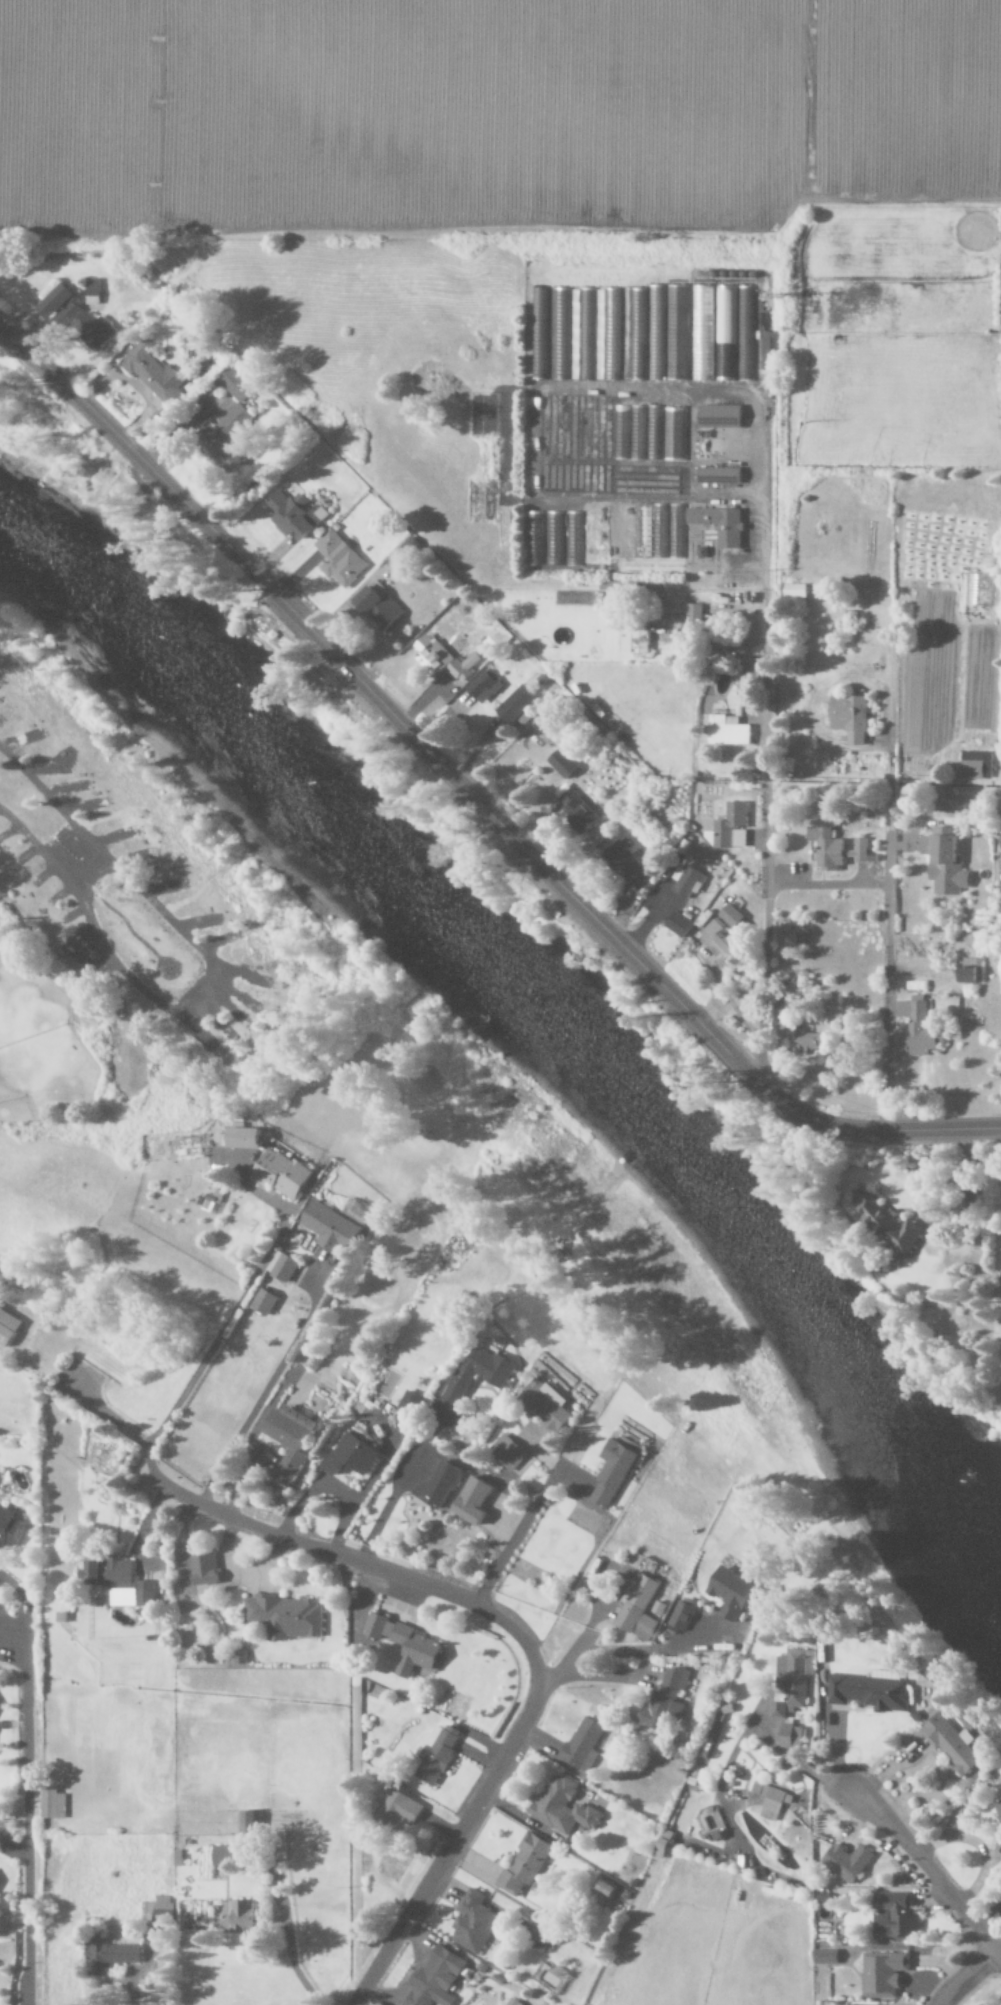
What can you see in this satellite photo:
crop: (488, 112)
building: (94, 291)
building: (77, 318)
building: (654, 333)
building: (676, 333)
building: (538, 334)
building: (560, 334)
building: (582, 334)
building: (700, 334)
building: (724, 334)
building: (744, 334)
building: (636, 335)
building: (607, 336)
building: (768, 357)
building: (153, 373)
building: (721, 417)
building: (231, 422)
building: (628, 433)
building: (652, 433)
building: (673, 435)
building: (720, 477)
building: (298, 516)
building: (720, 525)
building: (653, 529)
building: (553, 535)
building: (573, 539)
building: (340, 560)
building: (792, 591)
building: (380, 607)
building: (693, 613)
building: (644, 640)
building: (446, 661)
building: (485, 687)
building: (517, 705)
building: (846, 718)
building: (725, 731)
building: (565, 764)
building: (974, 766)
road: (467, 796)
building: (575, 812)
building: (729, 827)
road: (763, 837)
building: (832, 849)
building: (626, 862)
building: (941, 862)
road: (88, 872)
building: (686, 882)
road: (825, 885)
building: (729, 915)
road: (886, 916)
road: (120, 917)
building: (675, 924)
building: (718, 939)
building: (968, 972)
road: (209, 981)
river: (539, 1009)
building: (919, 1027)
park: (319, 1053)
building: (243, 1138)
building: (284, 1174)
building: (212, 1202)
building: (891, 1224)
building: (339, 1225)
building: (285, 1266)
building: (266, 1302)
building: (9, 1327)
road: (206, 1354)
road: (290, 1357)
building: (482, 1374)
building: (549, 1404)
road: (103, 1412)
building: (291, 1440)
building: (510, 1452)
building: (353, 1456)
building: (614, 1473)
building: (439, 1485)
building: (475, 1500)
building: (9, 1528)
building: (207, 1572)
building: (122, 1583)
building: (734, 1593)
building: (641, 1604)
building: (286, 1617)
building: (681, 1617)
building: (408, 1645)
road: (529, 1650)
building: (792, 1681)
building: (875, 1693)
building: (667, 1700)
building: (792, 1738)
building: (585, 1744)
building: (437, 1755)
building: (771, 1801)
building: (53, 1804)
building: (565, 1807)
building: (403, 1809)
building: (999, 1810)
road: (26, 1812)
building: (251, 1824)
building: (709, 1824)
building: (223, 1856)
building: (848, 1862)
building: (528, 1864)
road: (929, 1877)
building: (610, 1890)
building: (244, 1917)
building: (891, 1917)
building: (475, 1923)
building: (544, 1939)
building: (114, 1957)
building: (822, 1957)
building: (881, 1974)
road: (965, 1978)
building: (438, 1979)

